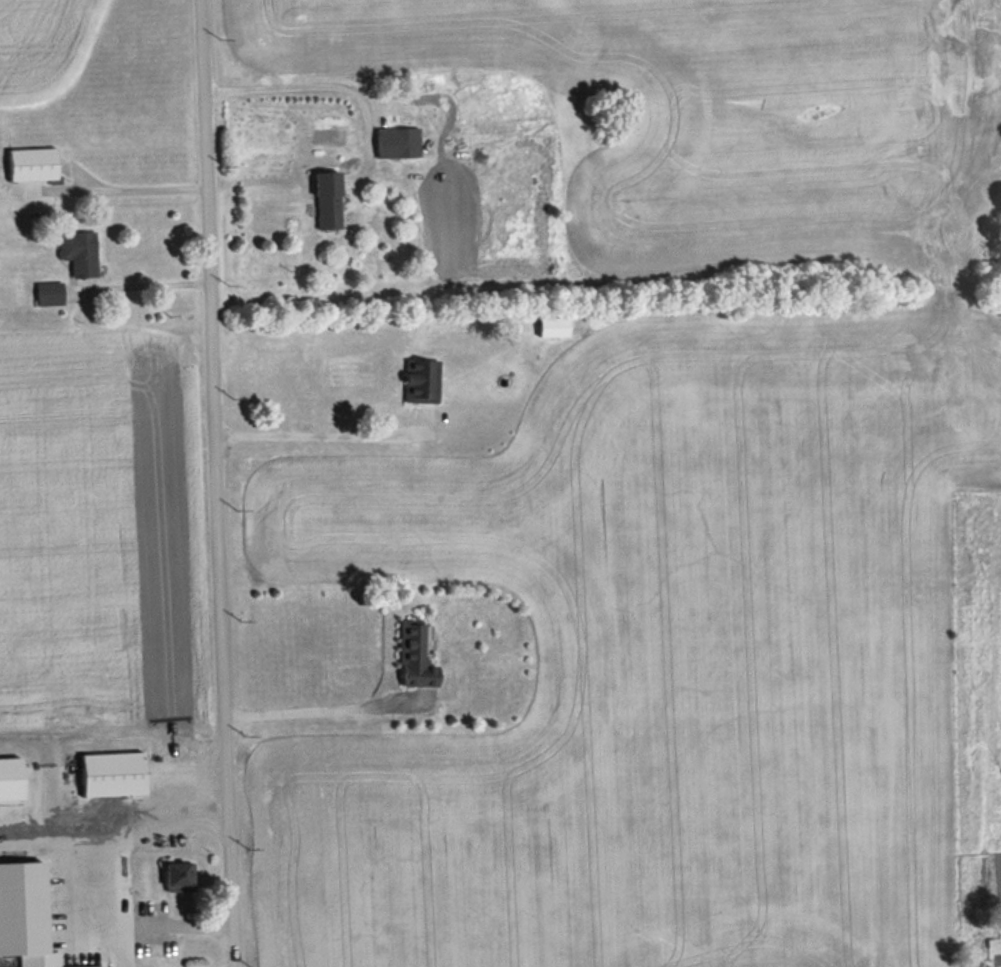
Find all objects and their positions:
road: (303, 83)
building: (400, 142)
building: (31, 165)
road: (135, 185)
building: (326, 201)
building: (78, 254)
road: (143, 282)
building: (49, 294)
building: (420, 382)
road: (307, 427)
road: (208, 483)
building: (412, 656)
road: (295, 707)
building: (111, 774)
building: (10, 779)
building: (176, 878)
building: (38, 942)
building: (95, 952)

